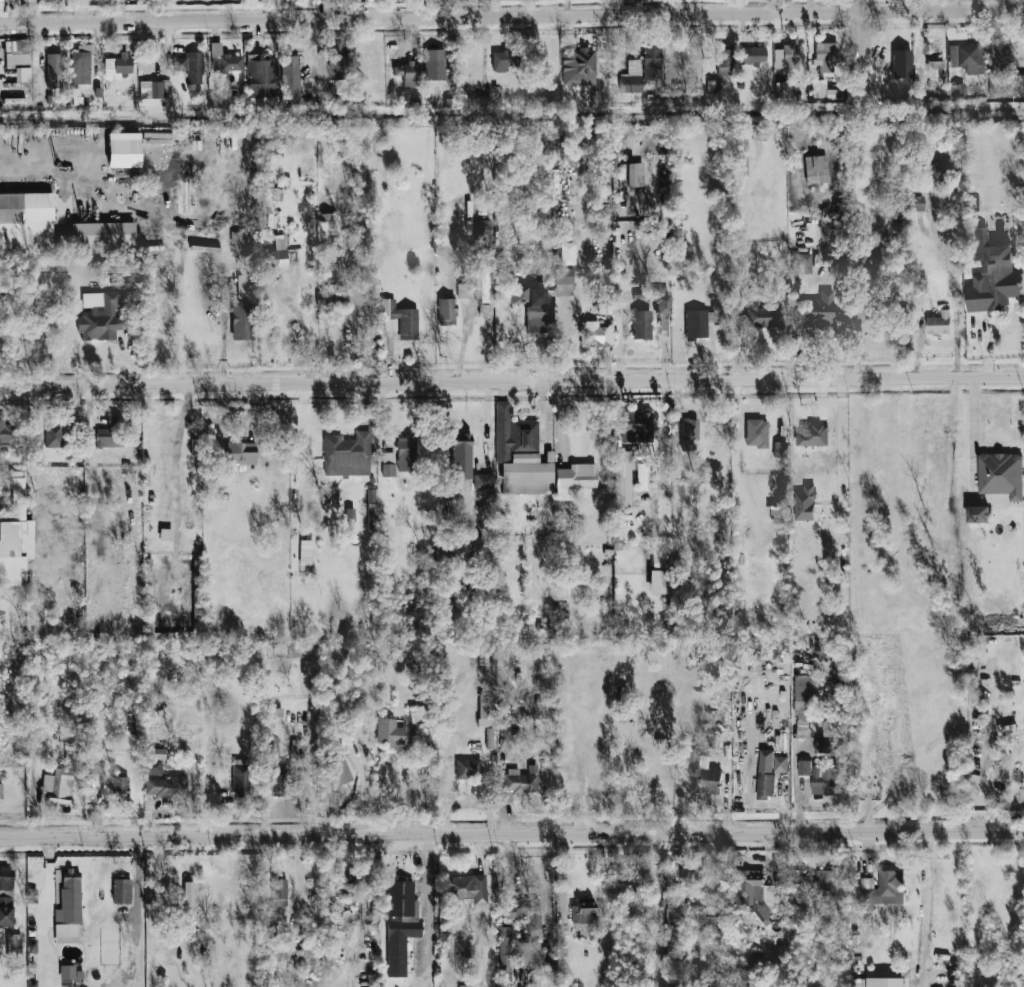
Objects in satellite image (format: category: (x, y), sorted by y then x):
building: (4, 0)
road: (864, 5)
road: (511, 17)
road: (866, 43)
building: (1002, 51)
building: (920, 53)
building: (753, 55)
building: (827, 56)
building: (786, 57)
building: (968, 58)
building: (18, 59)
building: (224, 60)
building: (501, 61)
building: (723, 61)
building: (651, 62)
building: (902, 63)
building: (434, 64)
building: (935, 64)
building: (81, 65)
building: (118, 66)
building: (190, 66)
building: (578, 67)
building: (54, 70)
building: (407, 73)
building: (260, 75)
building: (632, 77)
building: (290, 80)
building: (1006, 84)
building: (818, 88)
building: (155, 89)
building: (783, 90)
building: (958, 90)
building: (816, 169)
building: (943, 170)
road: (23, 171)
building: (631, 174)
building: (274, 194)
building: (915, 203)
building: (26, 207)
building: (326, 228)
building: (482, 230)
building: (277, 253)
building: (567, 253)
building: (801, 263)
building: (990, 273)
building: (483, 281)
building: (563, 282)
building: (604, 282)
building: (244, 286)
building: (462, 290)
building: (519, 294)
building: (325, 298)
building: (662, 304)
building: (819, 309)
building: (483, 310)
building: (447, 311)
building: (537, 312)
building: (99, 316)
building: (763, 317)
building: (241, 320)
building: (400, 320)
building: (939, 323)
building: (641, 325)
road: (854, 329)
road: (622, 332)
building: (595, 334)
road: (735, 337)
road: (563, 341)
road: (983, 349)
road: (609, 350)
road: (666, 351)
road: (512, 382)
road: (622, 412)
road: (664, 413)
building: (636, 426)
road: (737, 429)
building: (688, 433)
building: (756, 433)
building: (8, 434)
building: (52, 434)
building: (109, 434)
building: (513, 434)
building: (812, 435)
building: (780, 448)
road: (174, 449)
building: (406, 454)
building: (240, 455)
building: (347, 455)
building: (461, 456)
building: (388, 464)
building: (1001, 474)
building: (526, 475)
building: (574, 479)
building: (622, 480)
building: (483, 481)
building: (371, 496)
building: (805, 504)
building: (978, 514)
building: (165, 535)
building: (15, 544)
building: (305, 552)
building: (661, 570)
building: (151, 612)
building: (302, 651)
building: (806, 697)
building: (486, 709)
building: (272, 728)
building: (830, 728)
building: (1007, 729)
building: (388, 732)
building: (823, 746)
building: (155, 753)
building: (780, 763)
road: (450, 766)
building: (153, 767)
building: (804, 767)
building: (468, 768)
building: (340, 770)
building: (765, 773)
building: (823, 779)
building: (240, 780)
building: (707, 780)
building: (519, 782)
building: (279, 784)
building: (58, 785)
building: (119, 786)
building: (165, 787)
building: (0, 790)
road: (480, 804)
road: (511, 832)
road: (527, 874)
building: (6, 878)
building: (826, 882)
building: (467, 888)
building: (882, 889)
building: (121, 890)
building: (278, 890)
building: (753, 893)
building: (188, 899)
road: (44, 906)
building: (68, 908)
road: (926, 908)
building: (6, 910)
road: (429, 910)
building: (583, 913)
building: (529, 914)
building: (507, 915)
building: (710, 916)
building: (677, 917)
building: (400, 925)
building: (13, 942)
building: (276, 948)
building: (527, 952)
building: (504, 954)
building: (668, 962)
building: (71, 972)
building: (537, 981)
building: (878, 982)
building: (268, 985)

